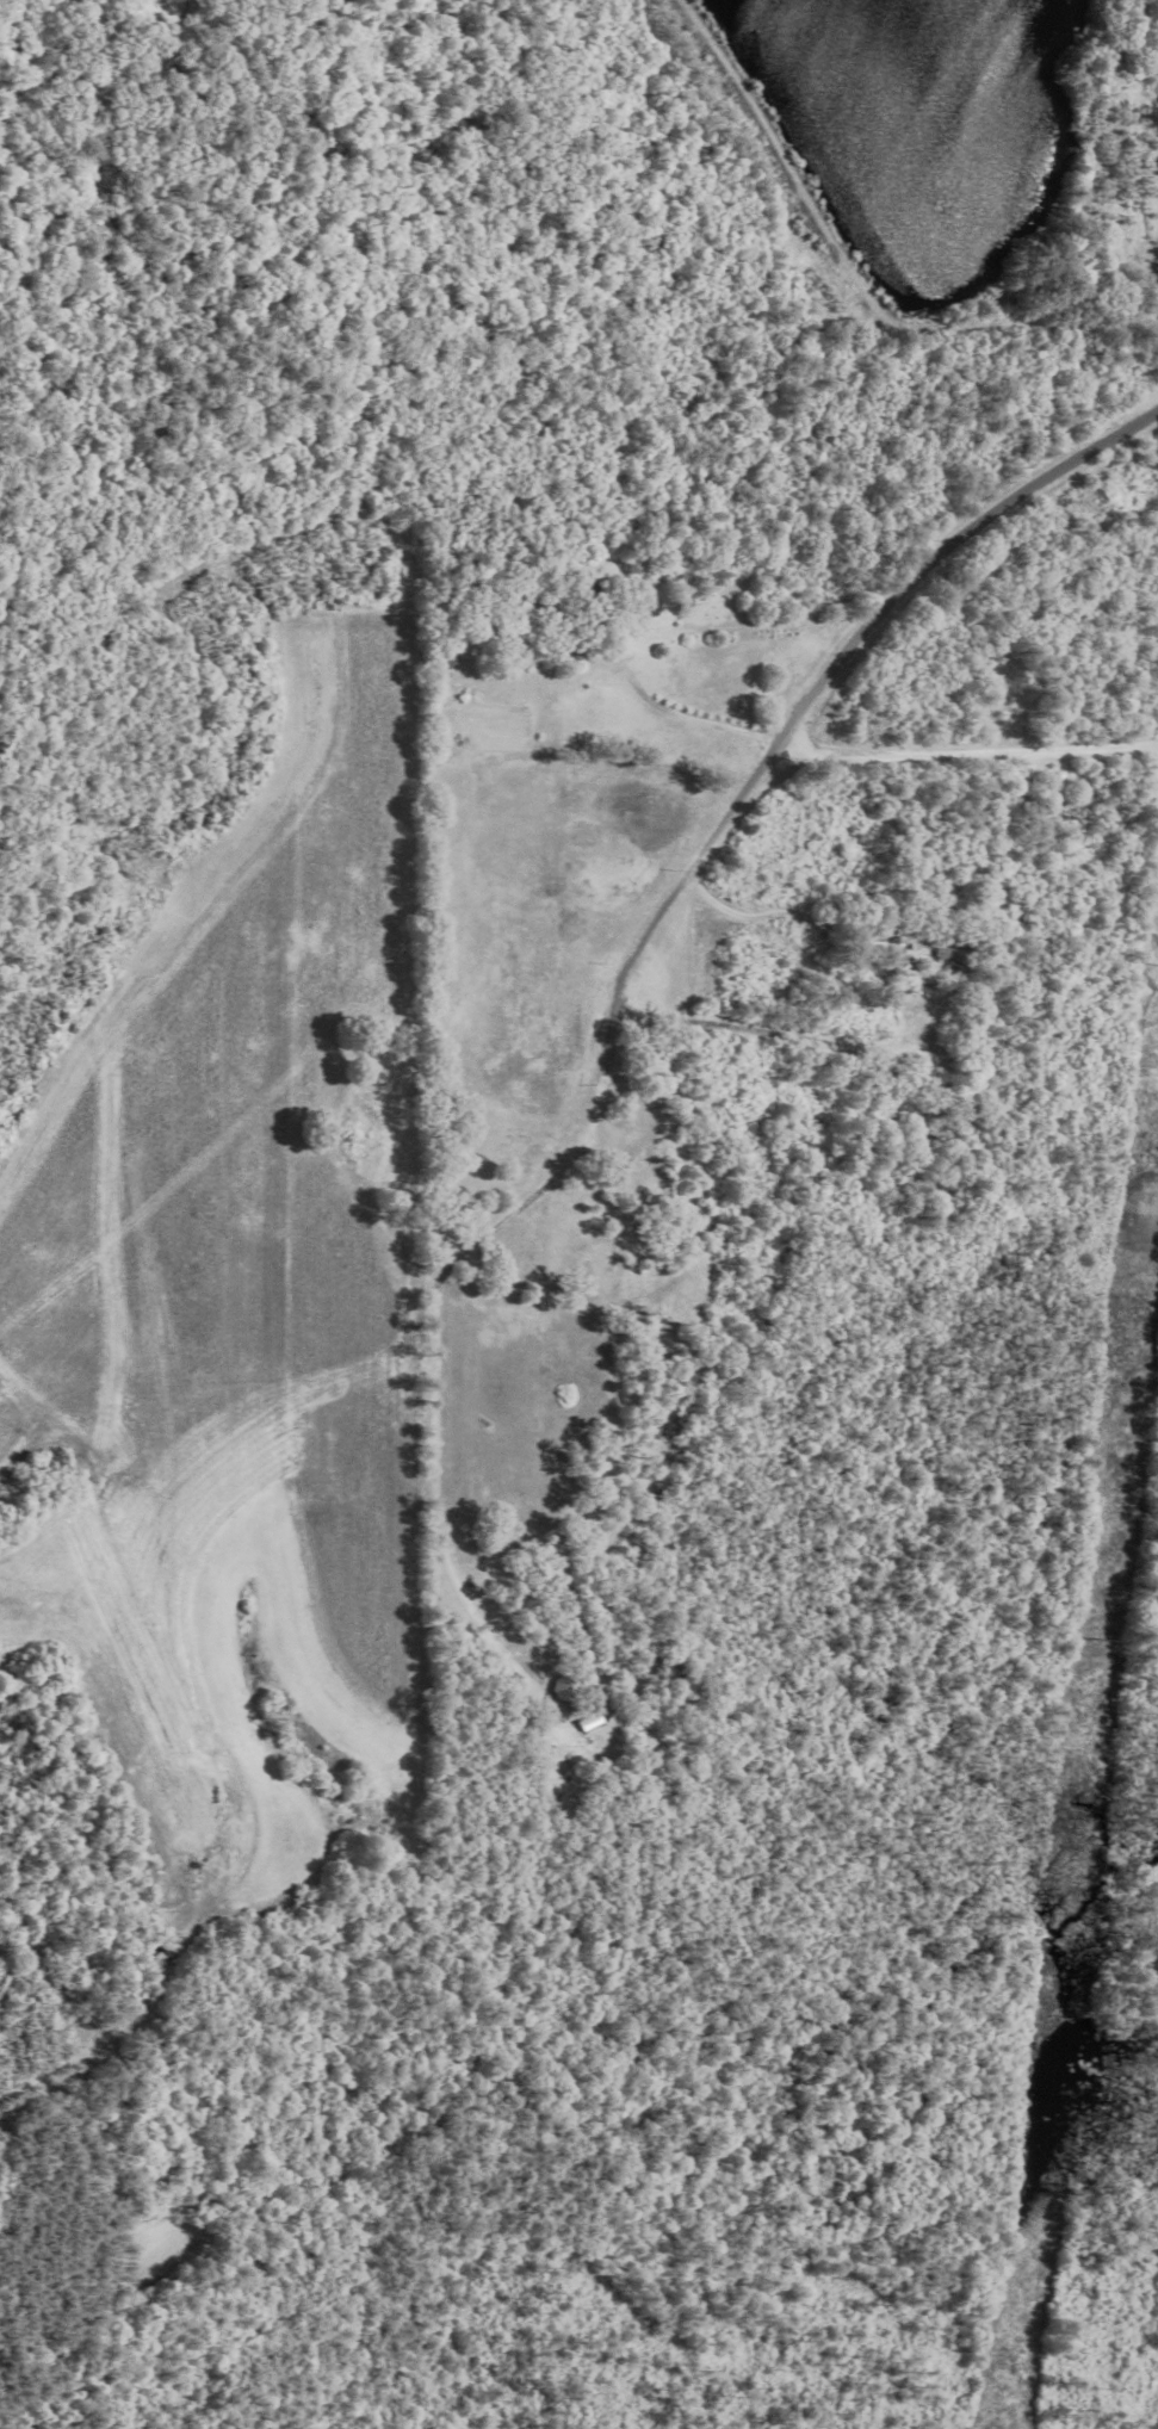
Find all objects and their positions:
road: (809, 705)
road: (968, 749)
road: (188, 1551)
building: (588, 1721)

